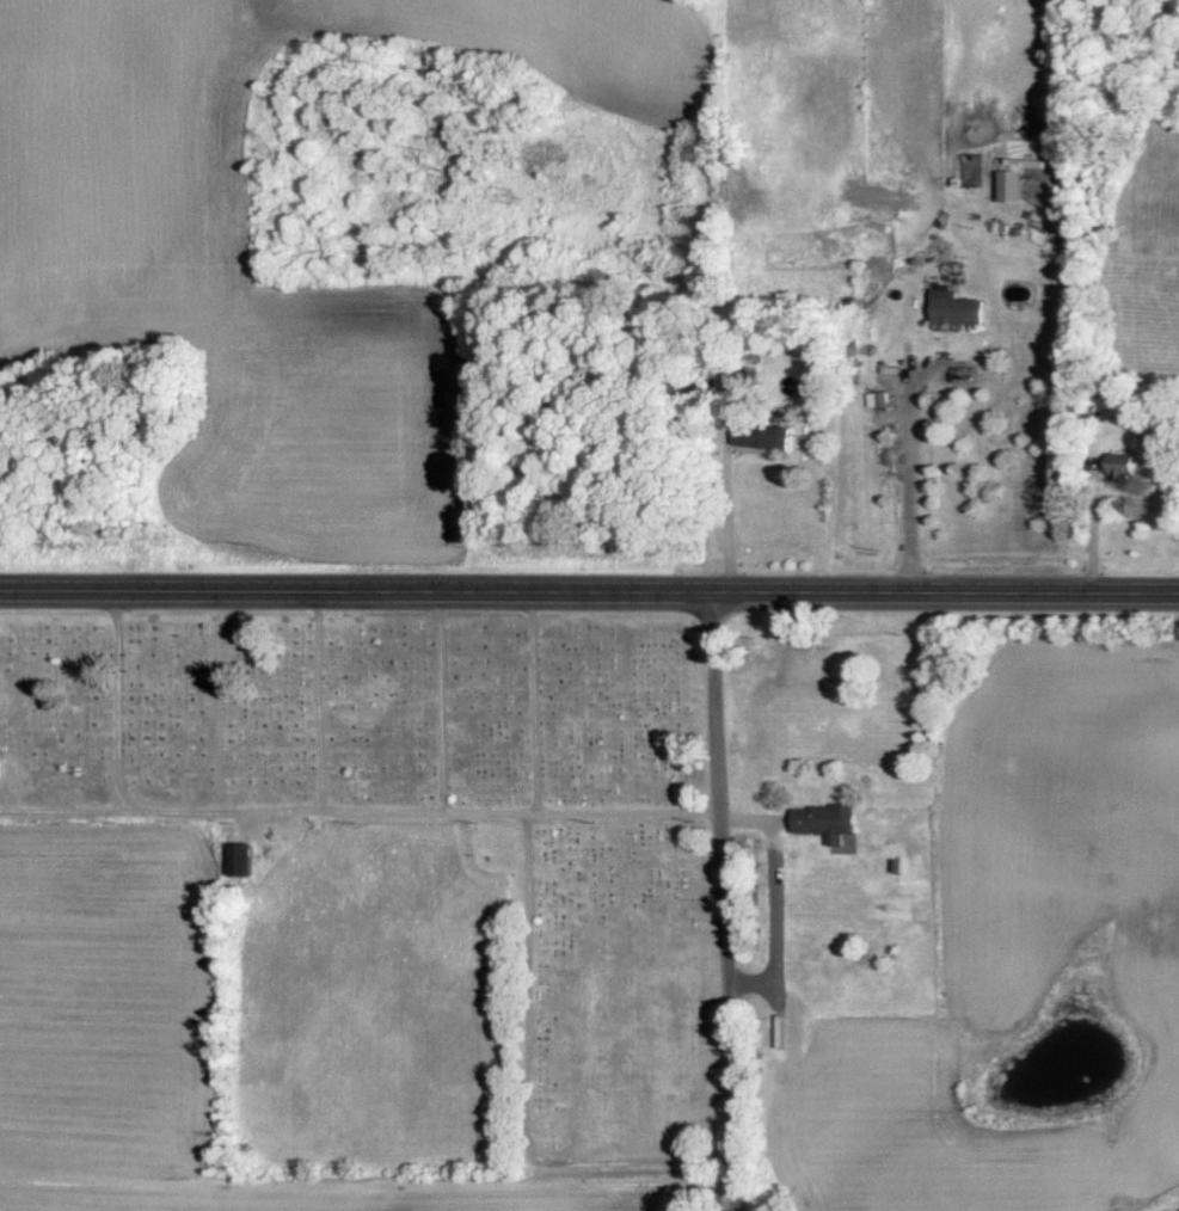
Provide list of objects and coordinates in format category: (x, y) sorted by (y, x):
building: (960, 306)
building: (768, 434)
building: (1126, 463)
road: (914, 479)
road: (738, 510)
road: (589, 590)
road: (336, 705)
road: (456, 706)
road: (549, 706)
park: (443, 807)
road: (78, 819)
road: (323, 819)
building: (829, 819)
building: (245, 856)
road: (775, 898)
road: (731, 899)
road: (529, 1098)

